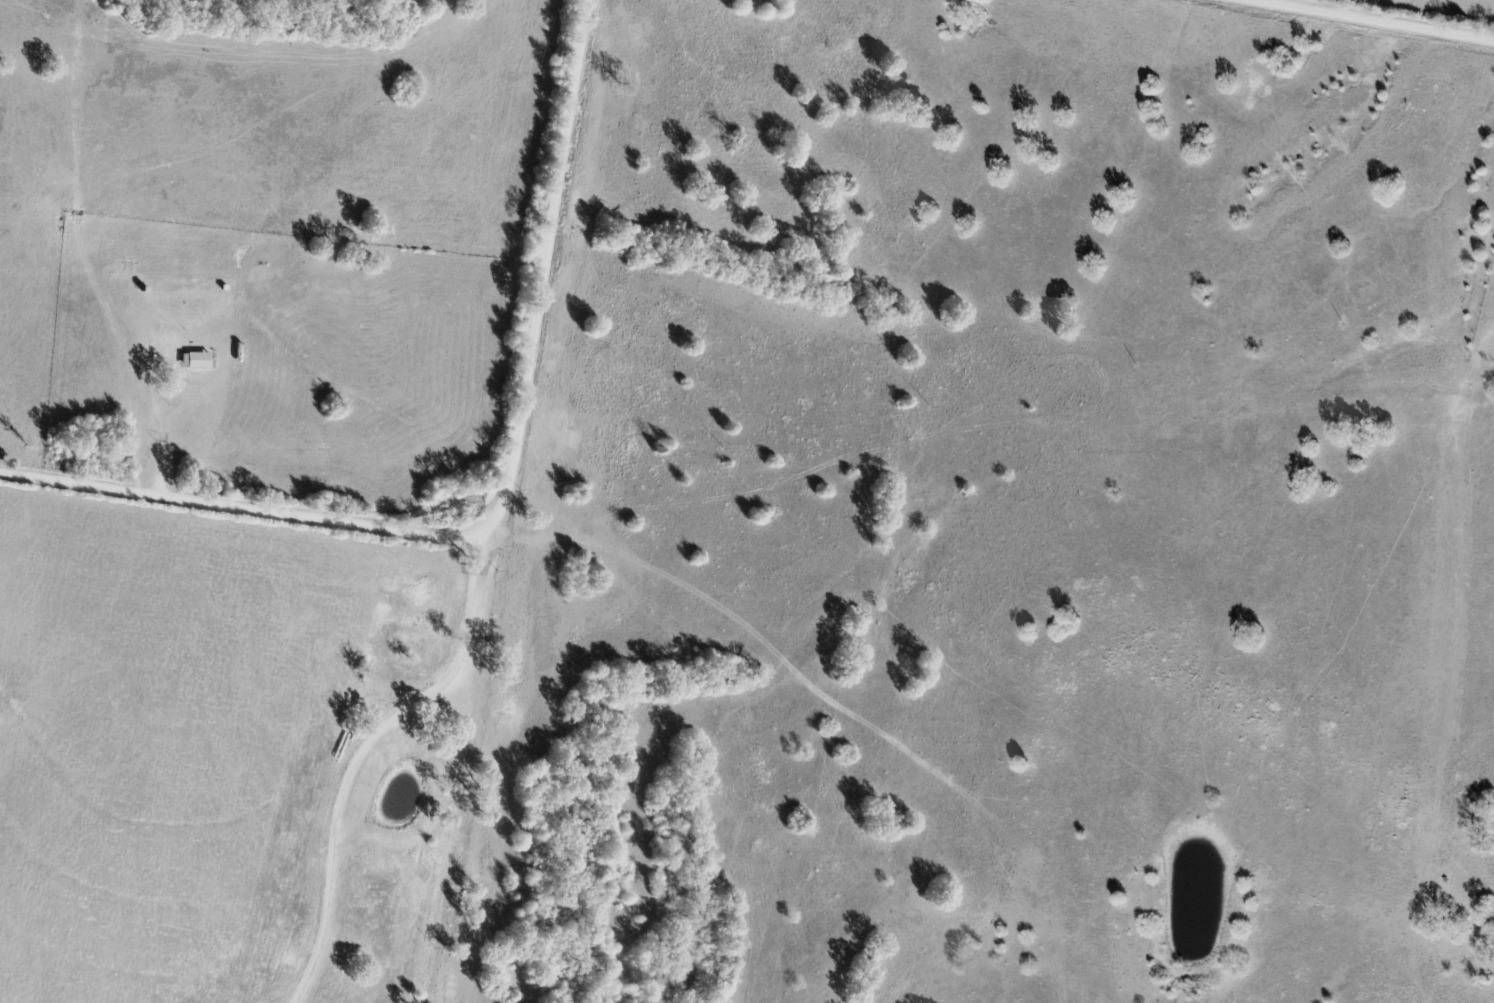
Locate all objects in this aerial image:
road: (1368, 20)
road: (495, 506)

